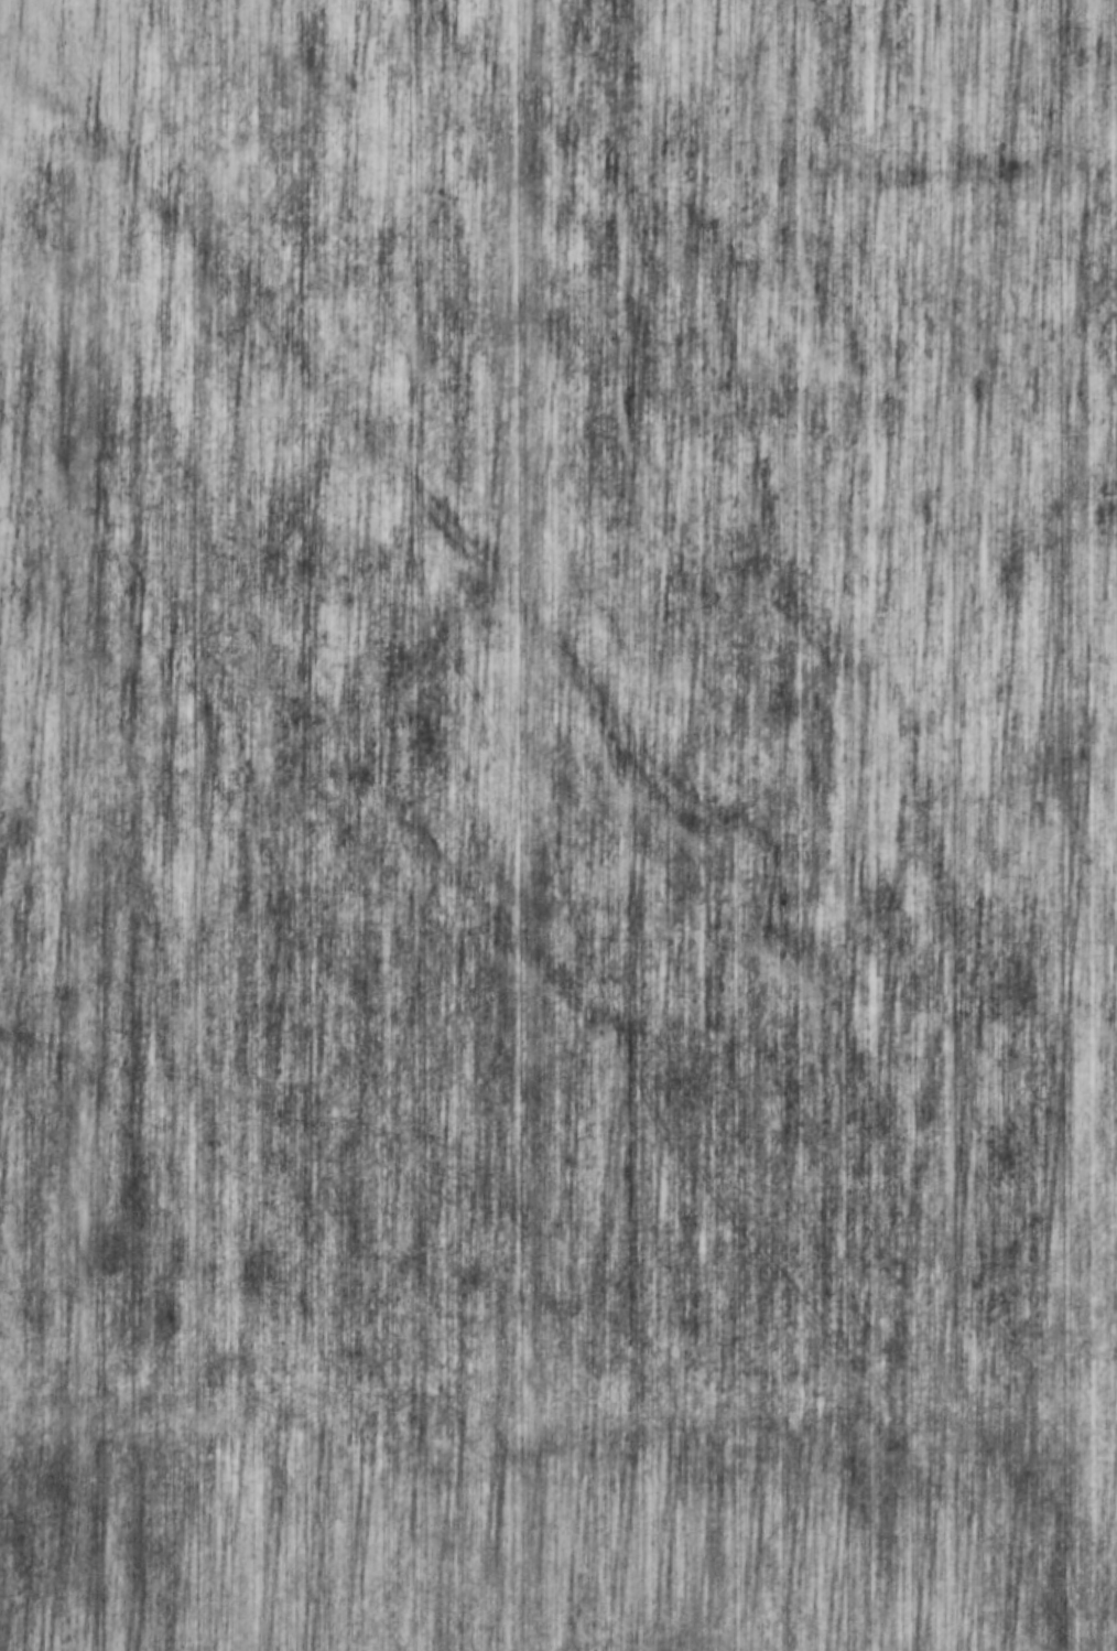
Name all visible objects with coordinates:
crop: (541, 709)
crop: (1087, 1076)
crop: (524, 1543)

